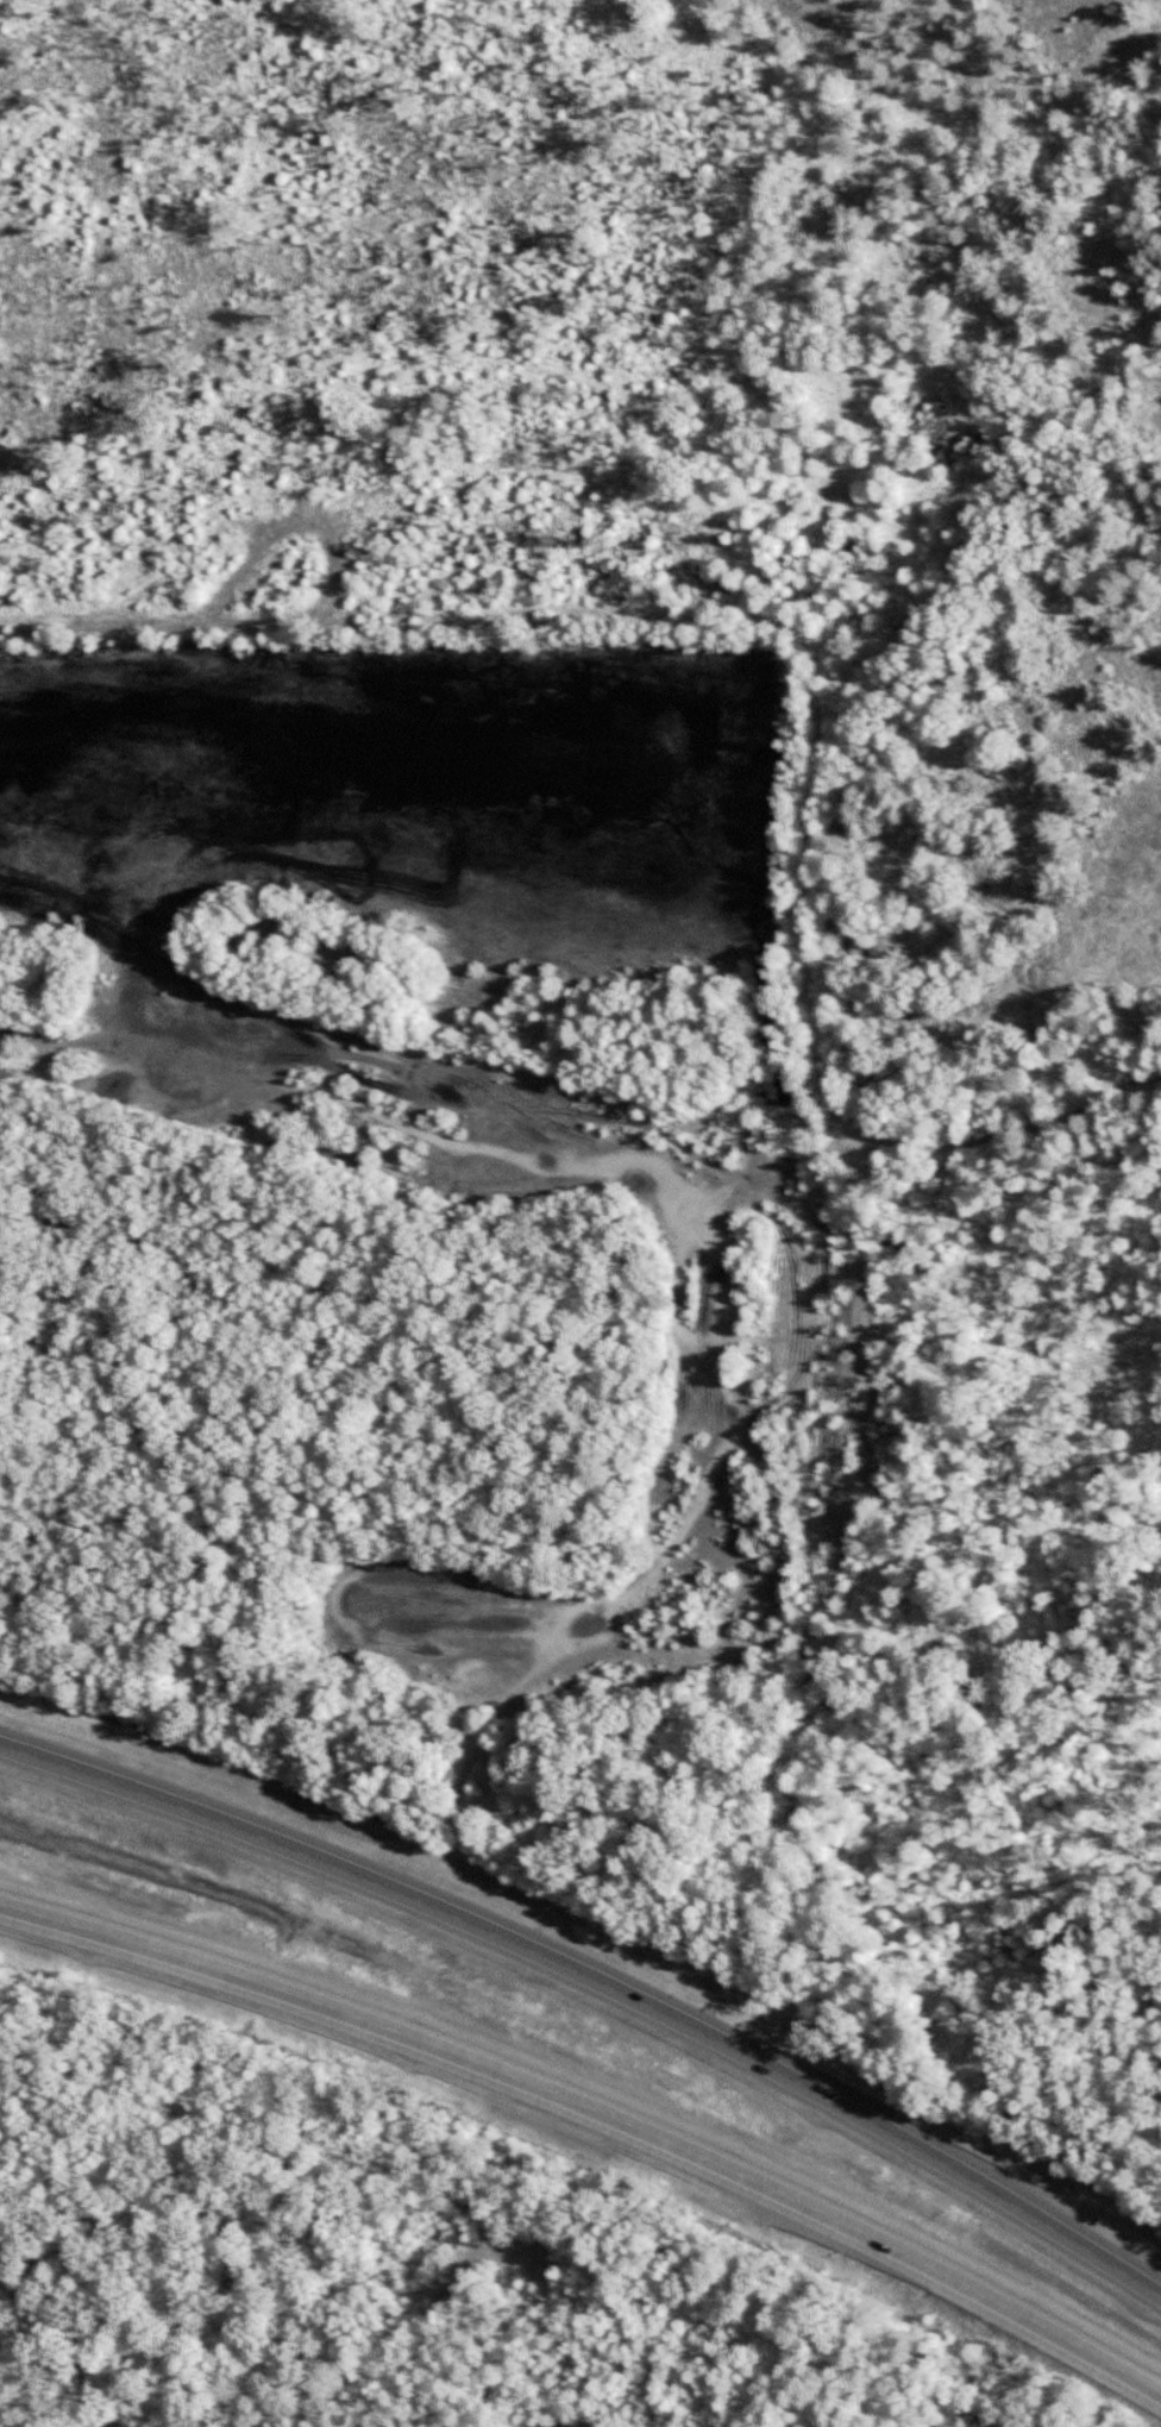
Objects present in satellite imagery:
road: (698, 1184)
road: (598, 1982)
road: (596, 2111)
road: (335, 2185)
road: (269, 2368)
parking lot: (567, 2421)

